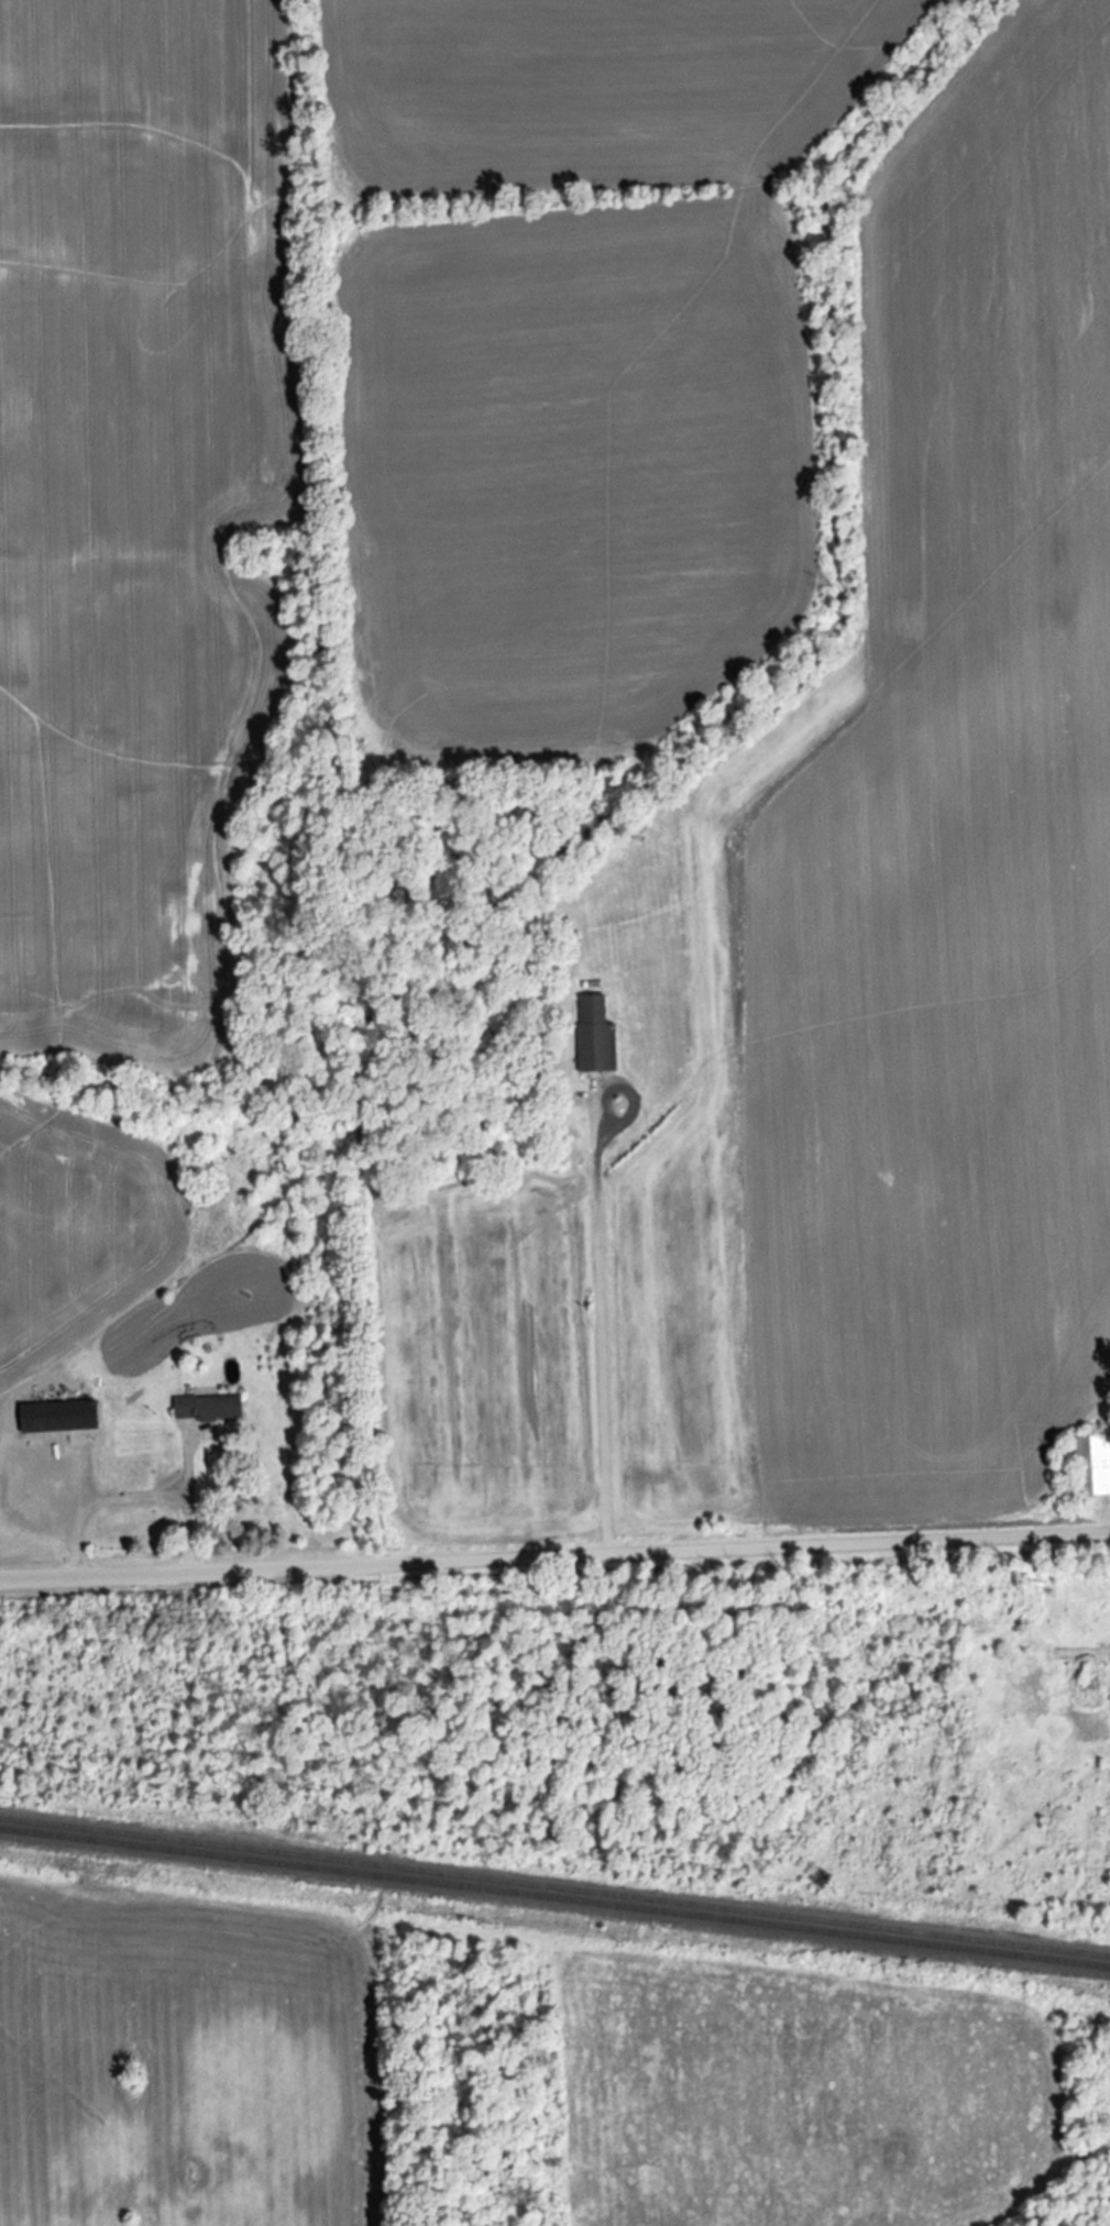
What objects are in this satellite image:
building: (592, 1035)
road: (594, 1323)
building: (202, 1407)
building: (52, 1417)
building: (1089, 1465)
road: (125, 1490)
road: (554, 1556)
railway: (554, 1886)
railway: (554, 1898)

